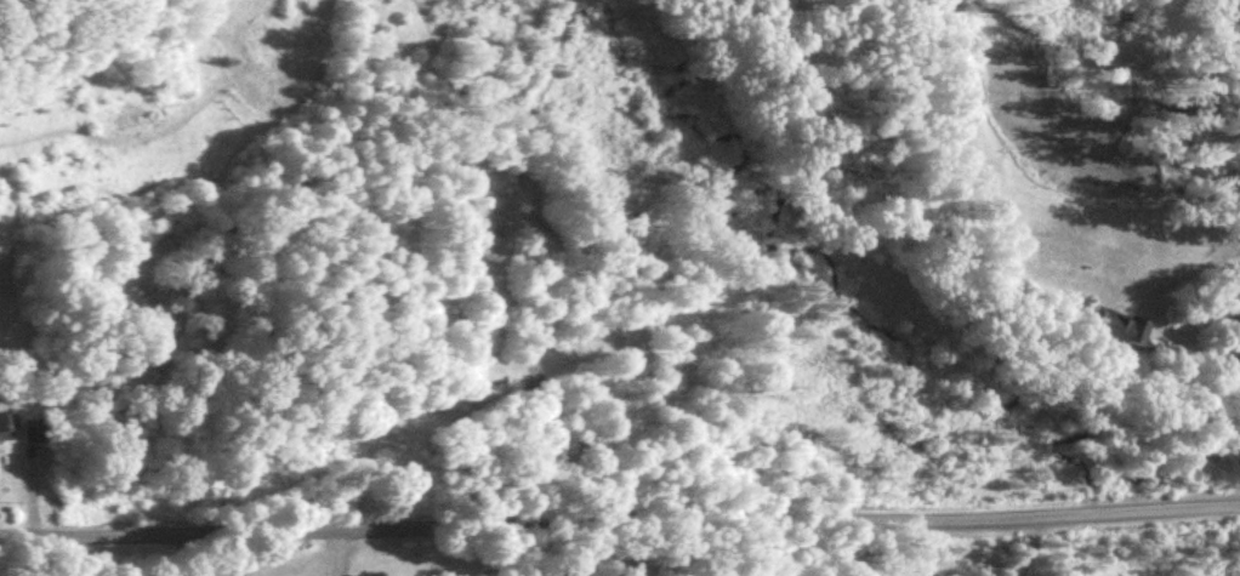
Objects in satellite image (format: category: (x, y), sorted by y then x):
road: (1198, 266)
building: (1121, 330)
building: (6, 426)
building: (33, 430)
road: (1238, 489)
road: (620, 525)
road: (1026, 544)

